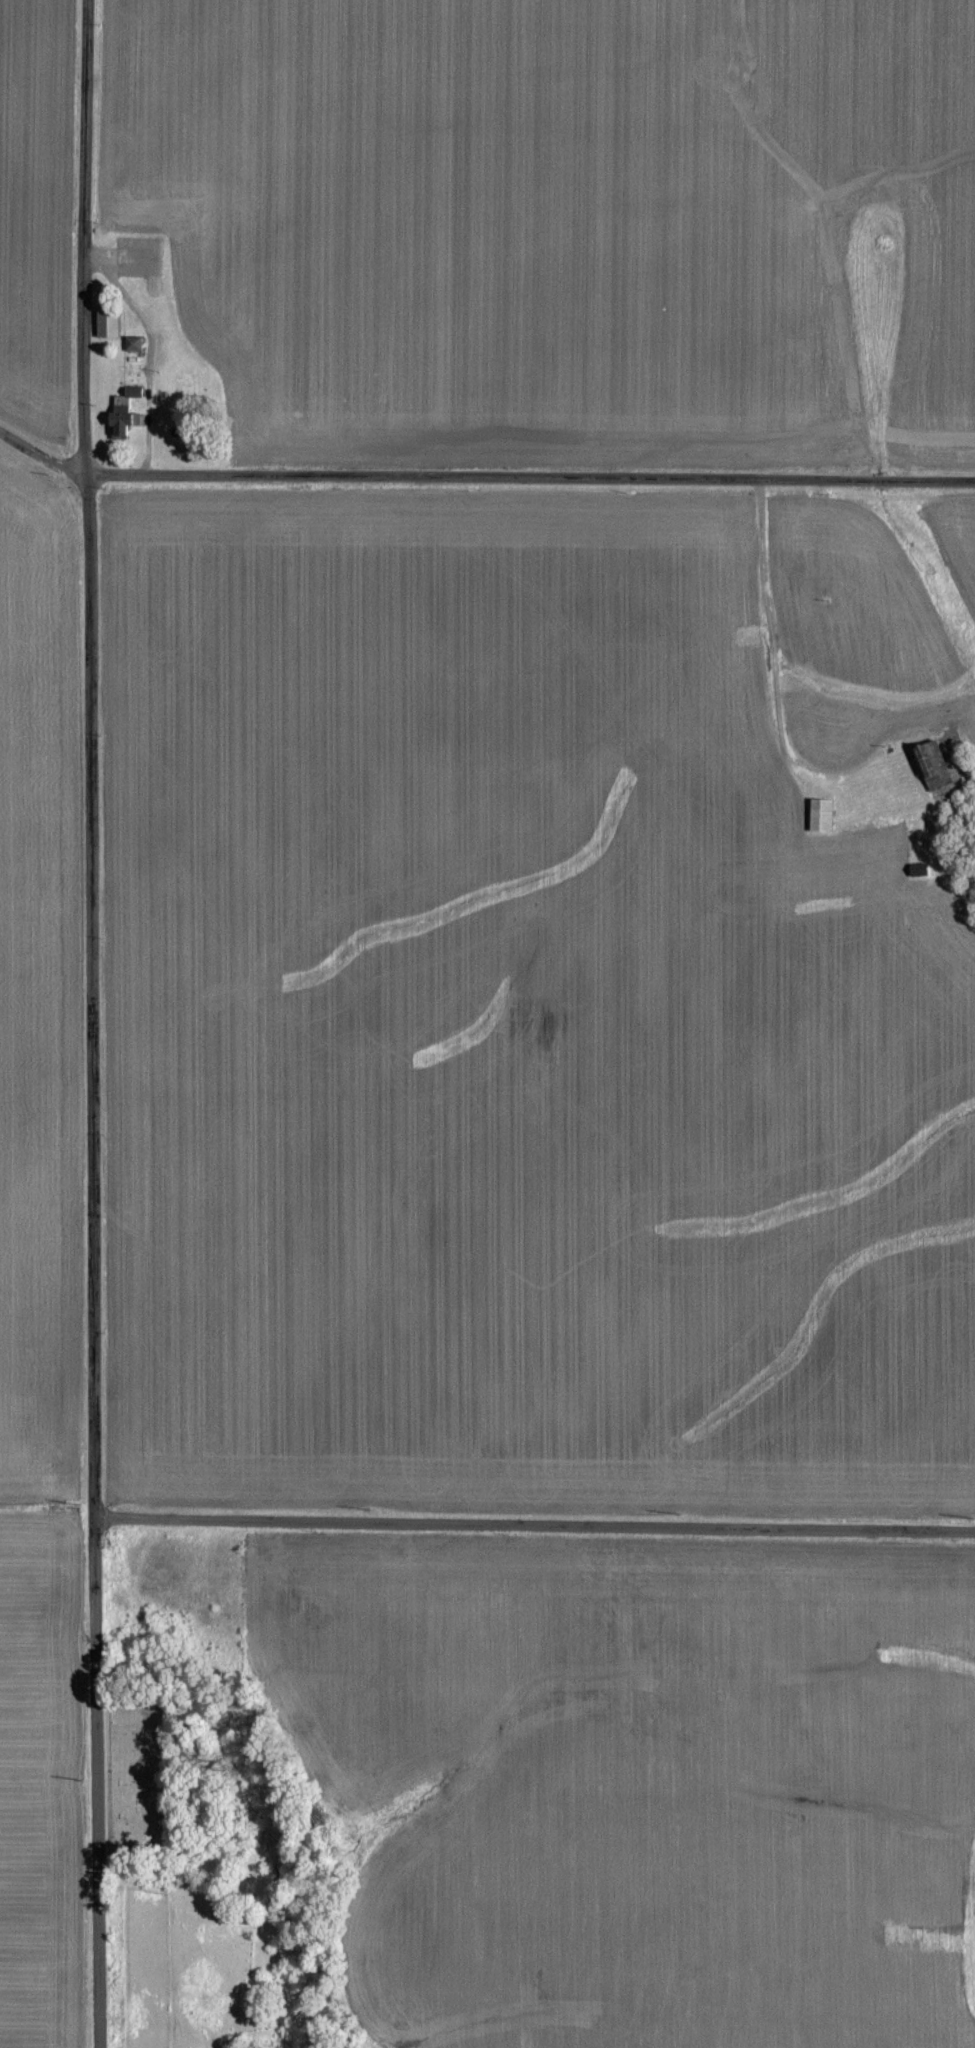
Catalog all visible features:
building: (133, 344)
road: (151, 351)
road: (481, 477)
building: (932, 764)
building: (821, 814)
road: (93, 1023)
road: (535, 1521)

